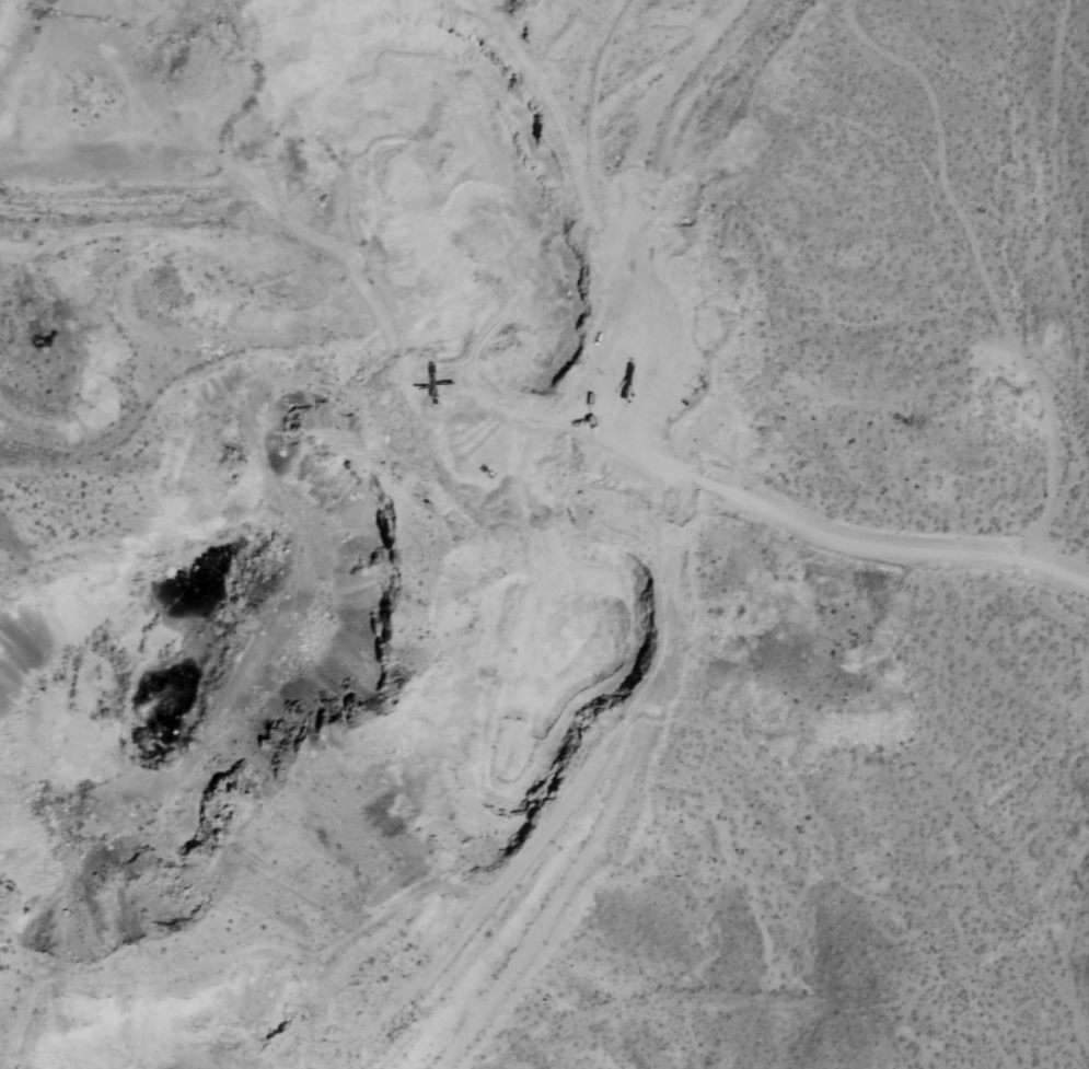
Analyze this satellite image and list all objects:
road: (842, 536)

